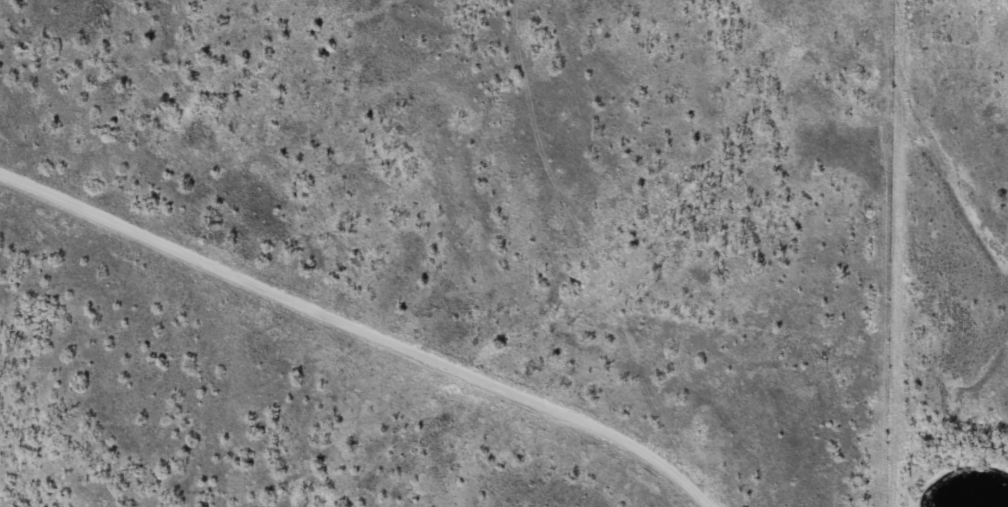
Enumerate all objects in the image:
road: (632, 253)
road: (356, 325)

